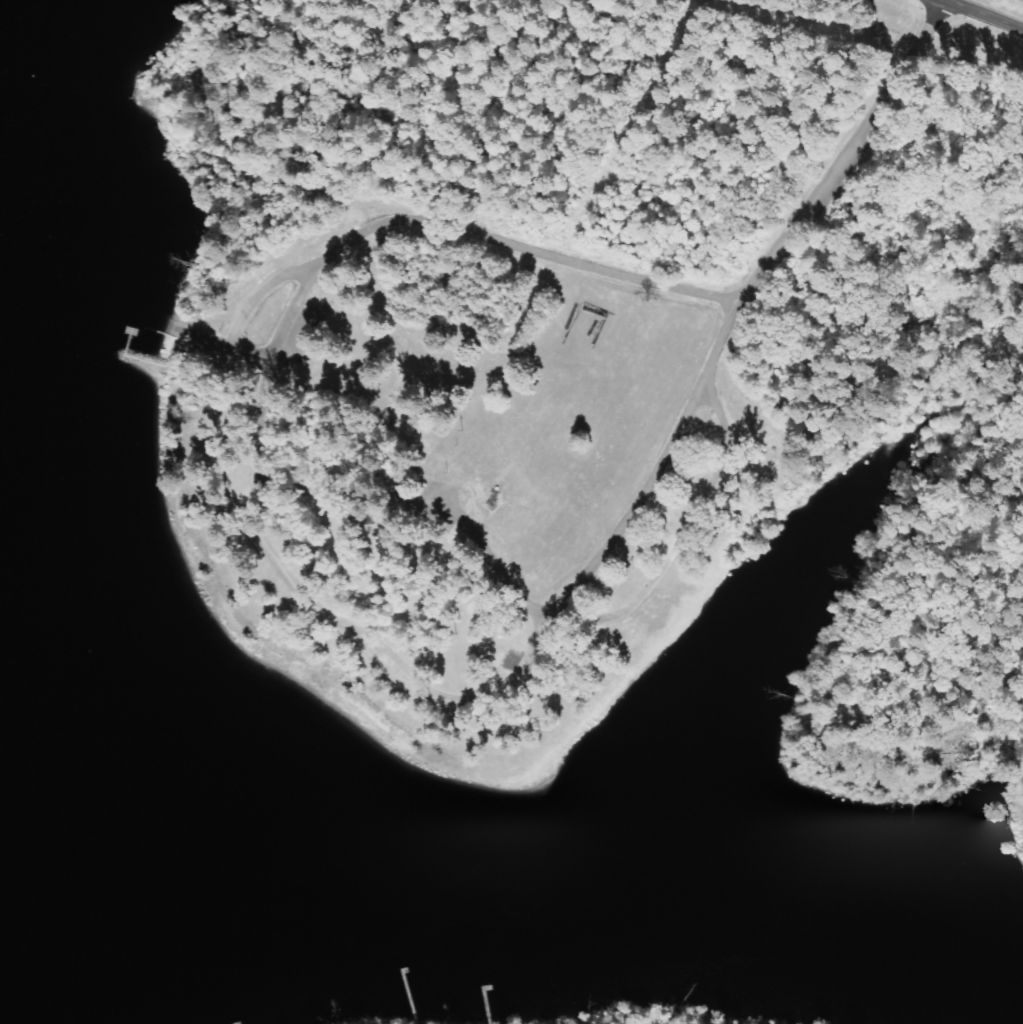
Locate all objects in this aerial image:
road: (985, 14)
road: (459, 224)
road: (287, 314)
park: (550, 316)
road: (875, 328)
road: (682, 535)
road: (599, 555)
road: (390, 658)

